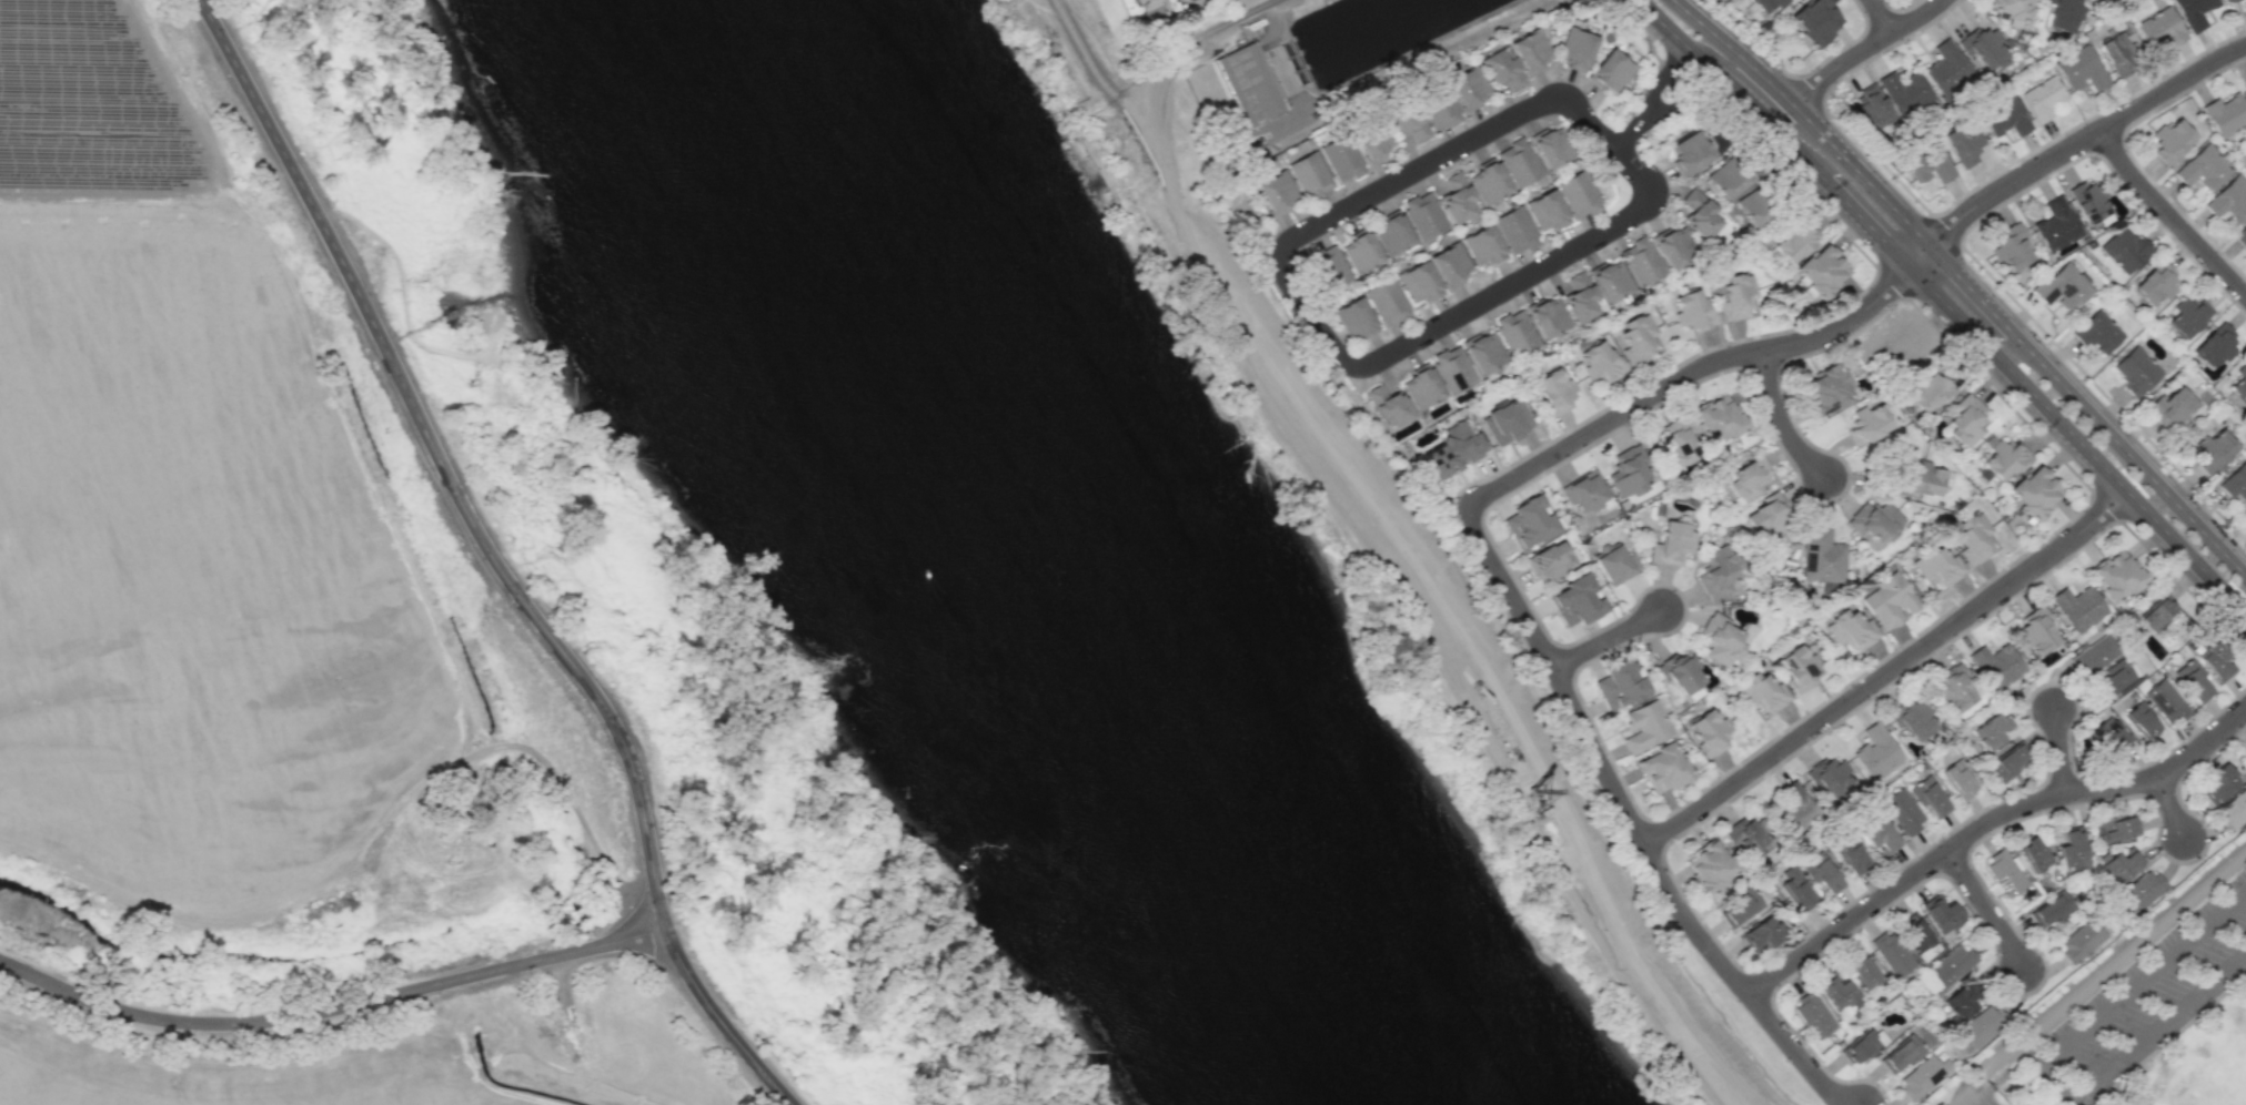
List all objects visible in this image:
building: (1188, 0)
building: (2227, 0)
building: (2245, 2)
building: (1766, 3)
building: (1149, 7)
building: (2010, 10)
building: (2193, 12)
building: (2064, 14)
road: (1881, 16)
road: (1243, 17)
building: (1815, 20)
building: (2159, 30)
building: (1984, 47)
building: (1574, 48)
road: (1864, 48)
building: (1529, 50)
building: (2118, 51)
building: (1500, 68)
building: (1947, 68)
building: (1611, 70)
building: (2081, 70)
road: (1663, 74)
building: (1250, 83)
road: (1733, 85)
building: (1468, 88)
building: (1904, 91)
road: (1760, 93)
road: (1686, 99)
building: (2042, 99)
building: (1871, 105)
crop: (64, 110)
building: (1439, 110)
building: (2225, 114)
road: (1806, 116)
building: (2005, 118)
building: (1408, 125)
road: (1632, 129)
road: (2083, 138)
building: (2171, 141)
building: (1374, 143)
building: (1963, 145)
building: (1551, 146)
building: (1689, 152)
building: (1341, 159)
building: (1519, 161)
building: (1931, 166)
building: (2203, 168)
building: (1309, 175)
building: (1726, 176)
building: (1488, 181)
building: (1578, 194)
building: (1457, 197)
building: (2229, 200)
building: (2089, 201)
building: (1752, 207)
building: (1547, 211)
building: (1699, 213)
building: (1424, 214)
road: (2168, 216)
road: (1865, 222)
building: (2057, 227)
building: (1515, 230)
building: (1393, 233)
building: (2240, 235)
building: (1795, 241)
building: (1673, 245)
building: (1483, 246)
building: (2011, 246)
building: (2125, 249)
building: (1361, 252)
road: (1918, 255)
building: (1642, 262)
building: (1451, 264)
building: (1331, 266)
building: (1822, 270)
building: (1611, 281)
building: (1420, 283)
building: (2156, 283)
road: (1971, 288)
building: (2063, 291)
building: (1735, 295)
building: (1580, 298)
road: (404, 300)
building: (1389, 302)
building: (1691, 311)
building: (1548, 316)
building: (2188, 316)
building: (1356, 318)
building: (2097, 332)
building: (1515, 333)
building: (1638, 338)
building: (2215, 345)
building: (1484, 352)
building: (1600, 362)
road: (1349, 364)
building: (1454, 368)
building: (2135, 371)
road: (1686, 376)
building: (1422, 386)
building: (1555, 391)
building: (1826, 391)
building: (1928, 392)
building: (1389, 405)
building: (2172, 408)
building: (1718, 418)
road: (1779, 418)
building: (1967, 419)
building: (1507, 422)
building: (1867, 424)
road: (2077, 439)
building: (1679, 442)
building: (1454, 449)
building: (2214, 452)
road: (2128, 454)
building: (2004, 457)
building: (1629, 472)
building: (1749, 478)
building: (1920, 478)
building: (2236, 485)
building: (1584, 490)
building: (2035, 491)
building: (1766, 517)
building: (1873, 519)
building: (1973, 538)
building: (1672, 544)
road: (1403, 545)
river: (1045, 554)
building: (1821, 556)
road: (494, 559)
building: (1550, 560)
building: (1615, 564)
building: (1937, 566)
crop: (192, 571)
building: (1719, 571)
building: (2116, 575)
building: (1575, 600)
building: (1890, 601)
building: (2078, 607)
building: (2156, 612)
building: (1851, 629)
building: (2036, 631)
road: (1608, 638)
building: (1720, 640)
building: (2093, 656)
building: (2214, 660)
building: (1995, 665)
building: (1799, 668)
road: (1887, 670)
building: (1681, 672)
building: (2112, 678)
building: (2193, 680)
building: (1621, 685)
building: (1954, 688)
building: (1762, 692)
building: (2165, 701)
building: (1913, 718)
building: (2141, 721)
building: (1646, 726)
building: (1990, 730)
building: (1710, 732)
building: (2109, 738)
building: (1876, 750)
road: (2059, 751)
building: (2005, 762)
building: (1663, 768)
building: (1830, 778)
building: (1957, 780)
building: (2219, 783)
building: (1928, 797)
road: (2171, 807)
building: (1795, 809)
building: (2234, 809)
building: (1902, 811)
road: (1634, 822)
road: (1985, 822)
building: (2117, 827)
building: (1879, 835)
building: (1749, 838)
building: (2072, 851)
building: (2032, 853)
building: (1852, 856)
building: (2118, 864)
building: (1710, 865)
building: (1821, 871)
building: (2006, 871)
building: (1795, 889)
building: (2141, 891)
building: (1743, 906)
road: (1985, 909)
building: (2049, 909)
building: (1941, 913)
building: (1762, 933)
building: (1915, 933)
building: (2081, 940)
building: (1891, 953)
building: (1952, 965)
building: (1863, 972)
road: (2098, 973)
road: (2143, 979)
building: (1839, 994)
parking lot: (2146, 997)
building: (1963, 1001)
road: (331, 1007)
park: (2135, 1011)
building: (1813, 1015)
building: (1983, 1025)
road: (2141, 1041)
building: (1862, 1046)
building: (1902, 1054)
road: (2028, 1054)
crop: (389, 1068)
park: (2209, 1069)
building: (1923, 1076)
road: (1985, 1096)
parking lot: (1988, 1102)

